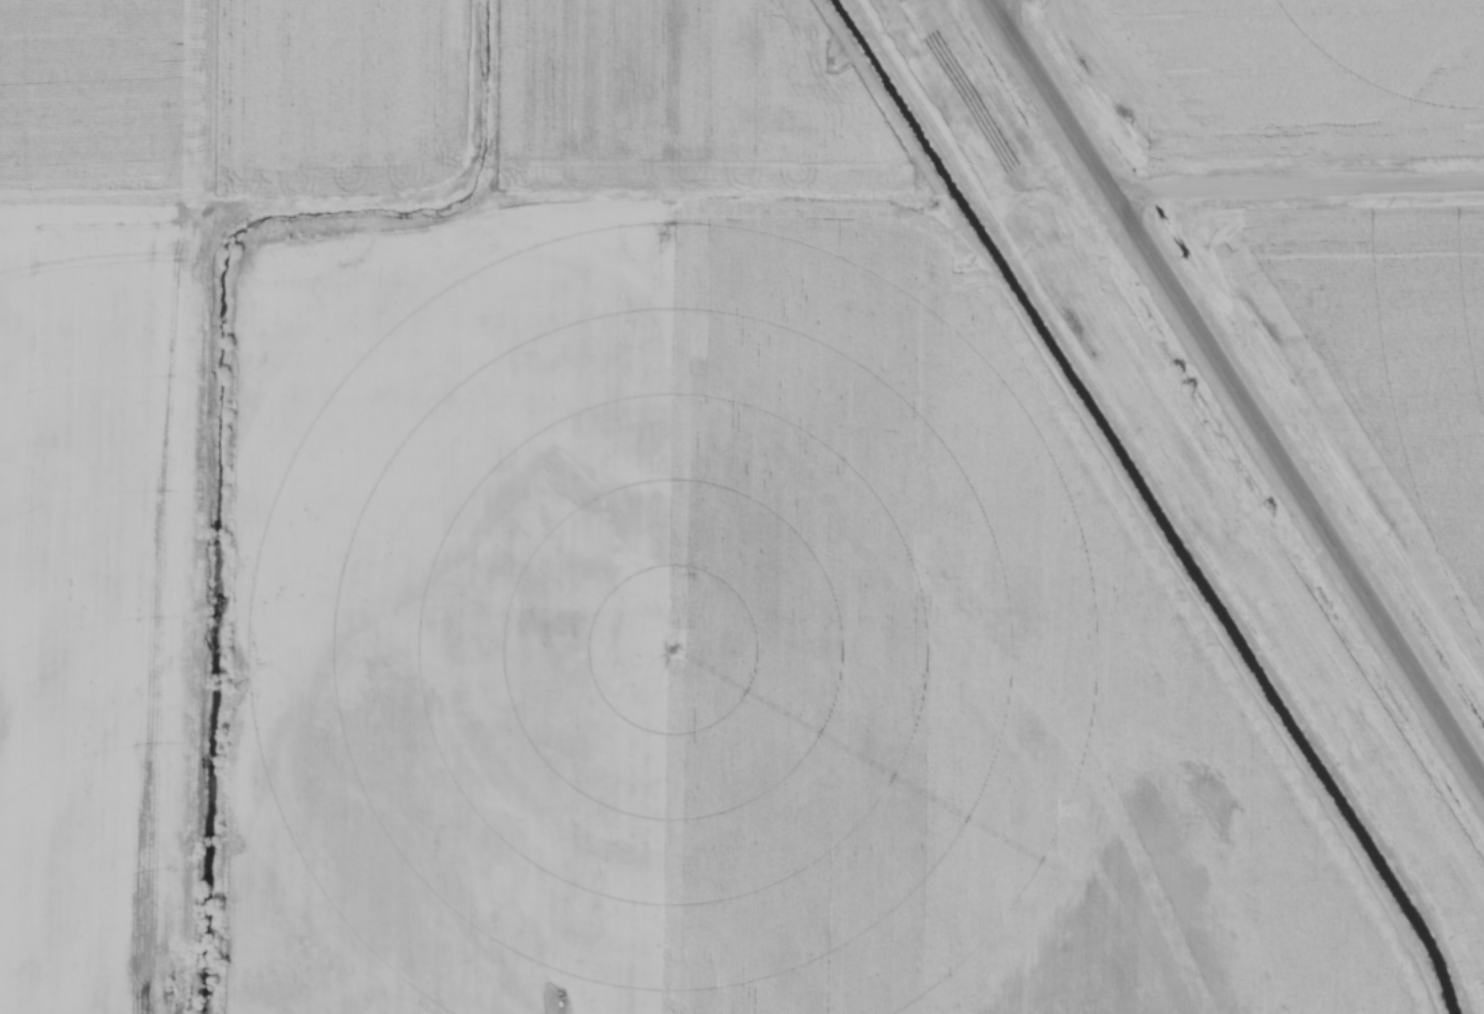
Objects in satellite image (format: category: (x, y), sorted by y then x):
road: (1006, 11)
road: (1297, 191)
road: (1233, 398)
road: (206, 507)

